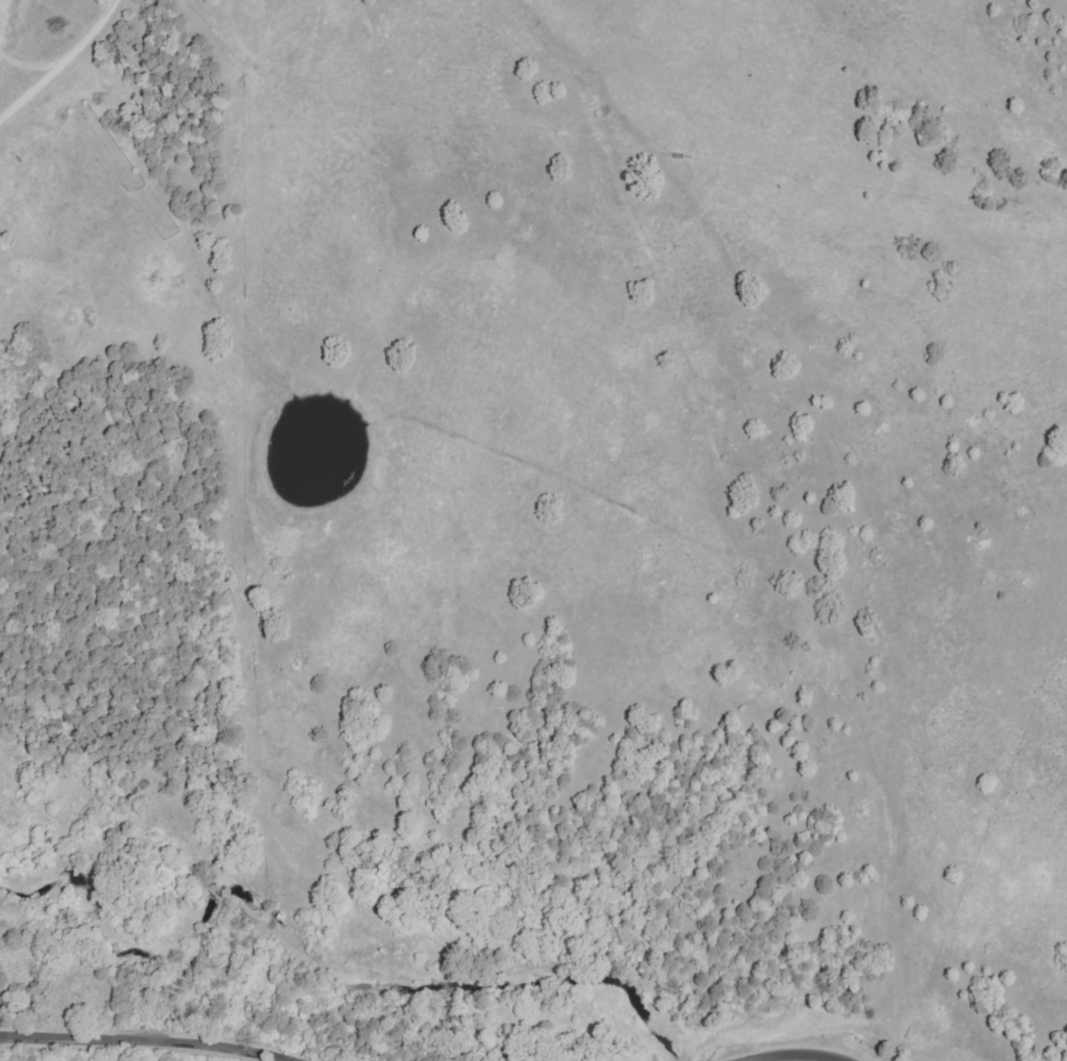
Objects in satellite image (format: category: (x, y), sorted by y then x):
road: (161, 1036)
road: (791, 1048)

